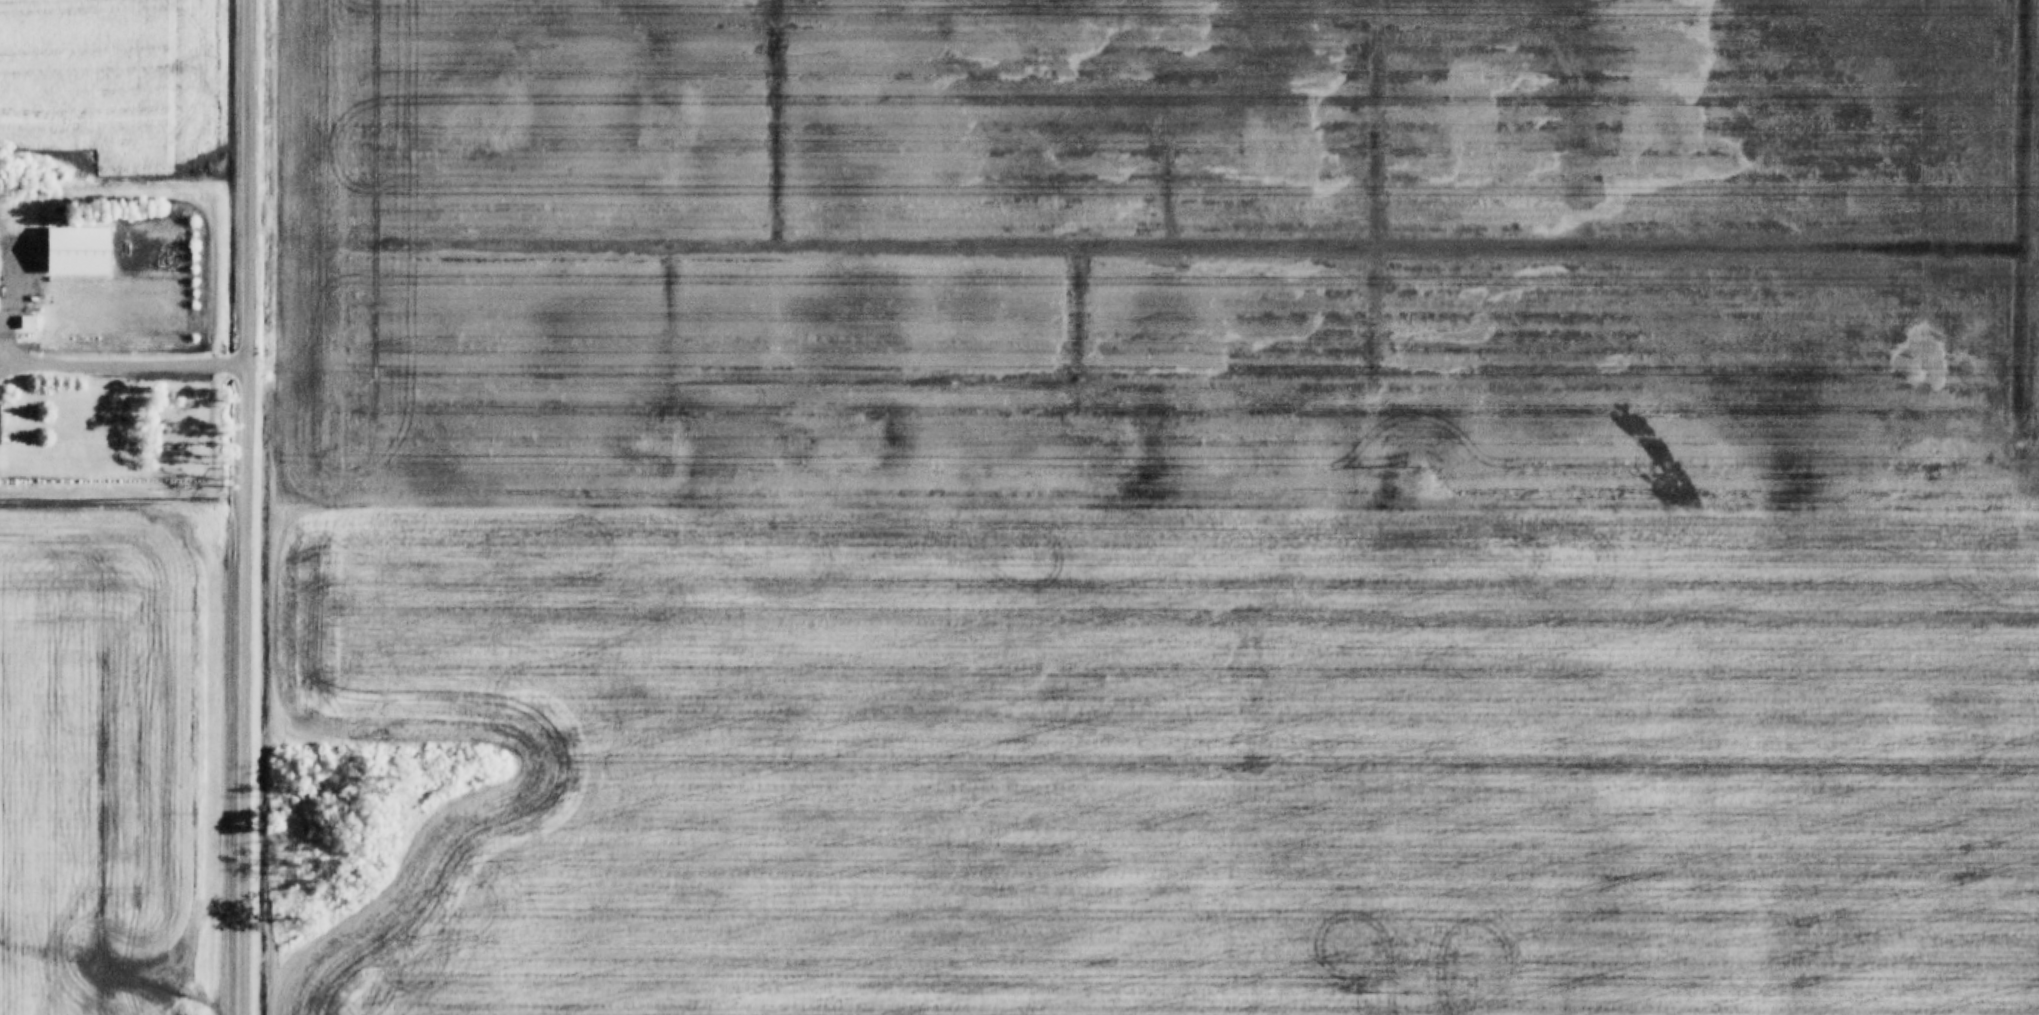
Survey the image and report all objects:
road: (250, 182)
building: (23, 319)
road: (7, 341)
road: (7, 361)
road: (130, 364)
power tower: (1407, 466)
road: (247, 690)
power tower: (1405, 994)

